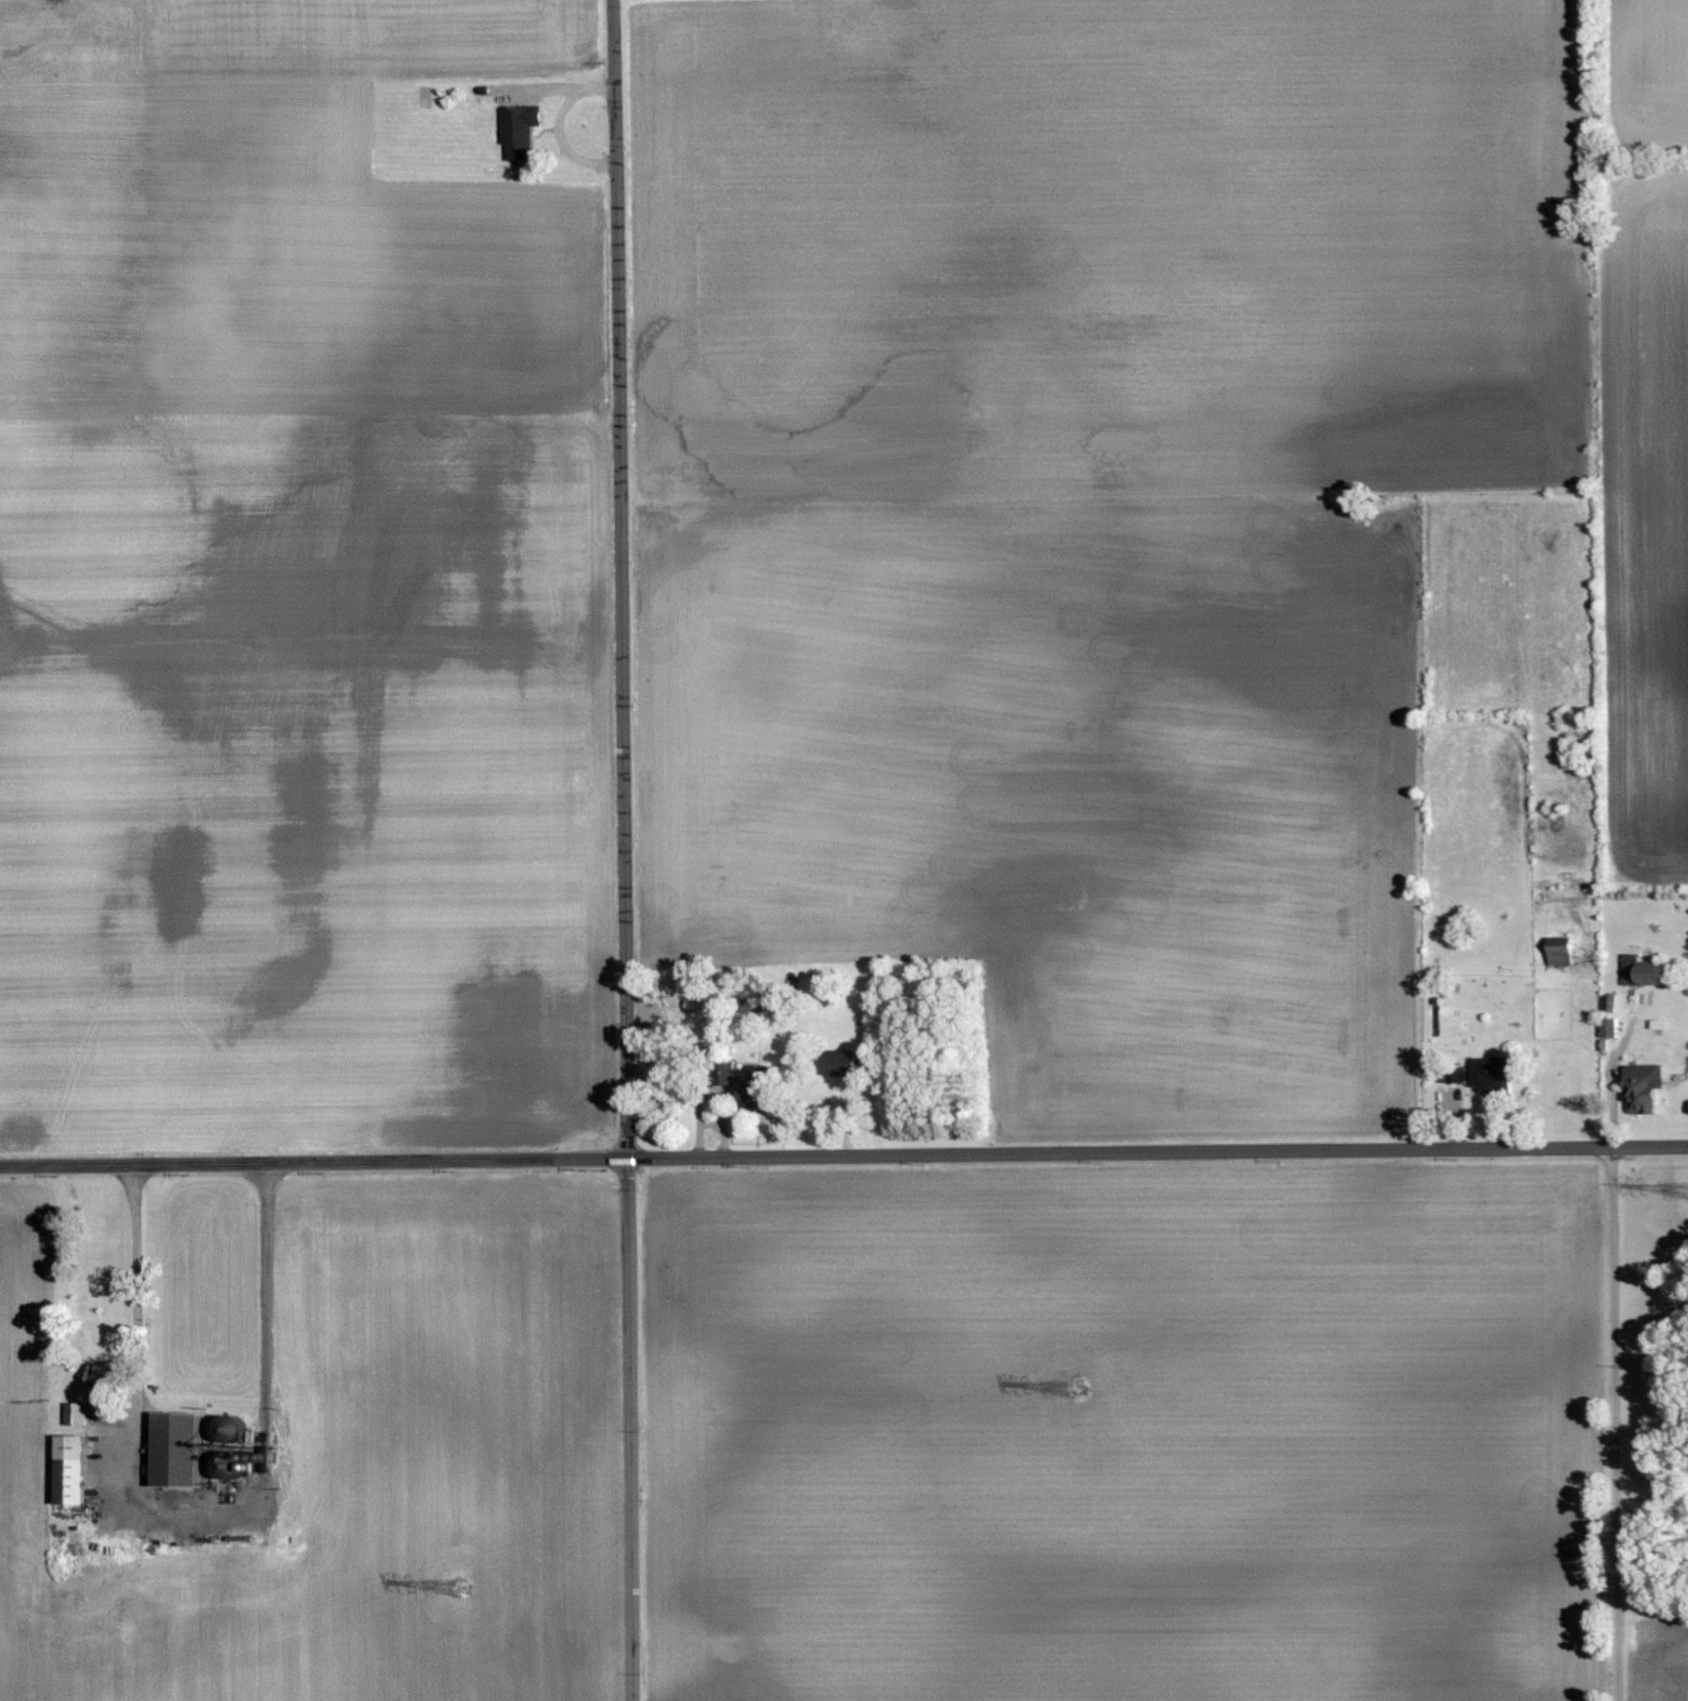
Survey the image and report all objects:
road: (543, 90)
road: (562, 125)
building: (516, 131)
road: (625, 849)
building: (1556, 955)
building: (1638, 973)
building: (836, 1063)
building: (1485, 1075)
road: (1612, 1084)
building: (1638, 1087)
road: (710, 1090)
road: (710, 1123)
road: (843, 1154)
power tower: (1074, 1389)
building: (73, 1413)
road: (1614, 1423)
building: (171, 1447)
building: (65, 1466)
road: (204, 1507)
power tower: (460, 1587)

